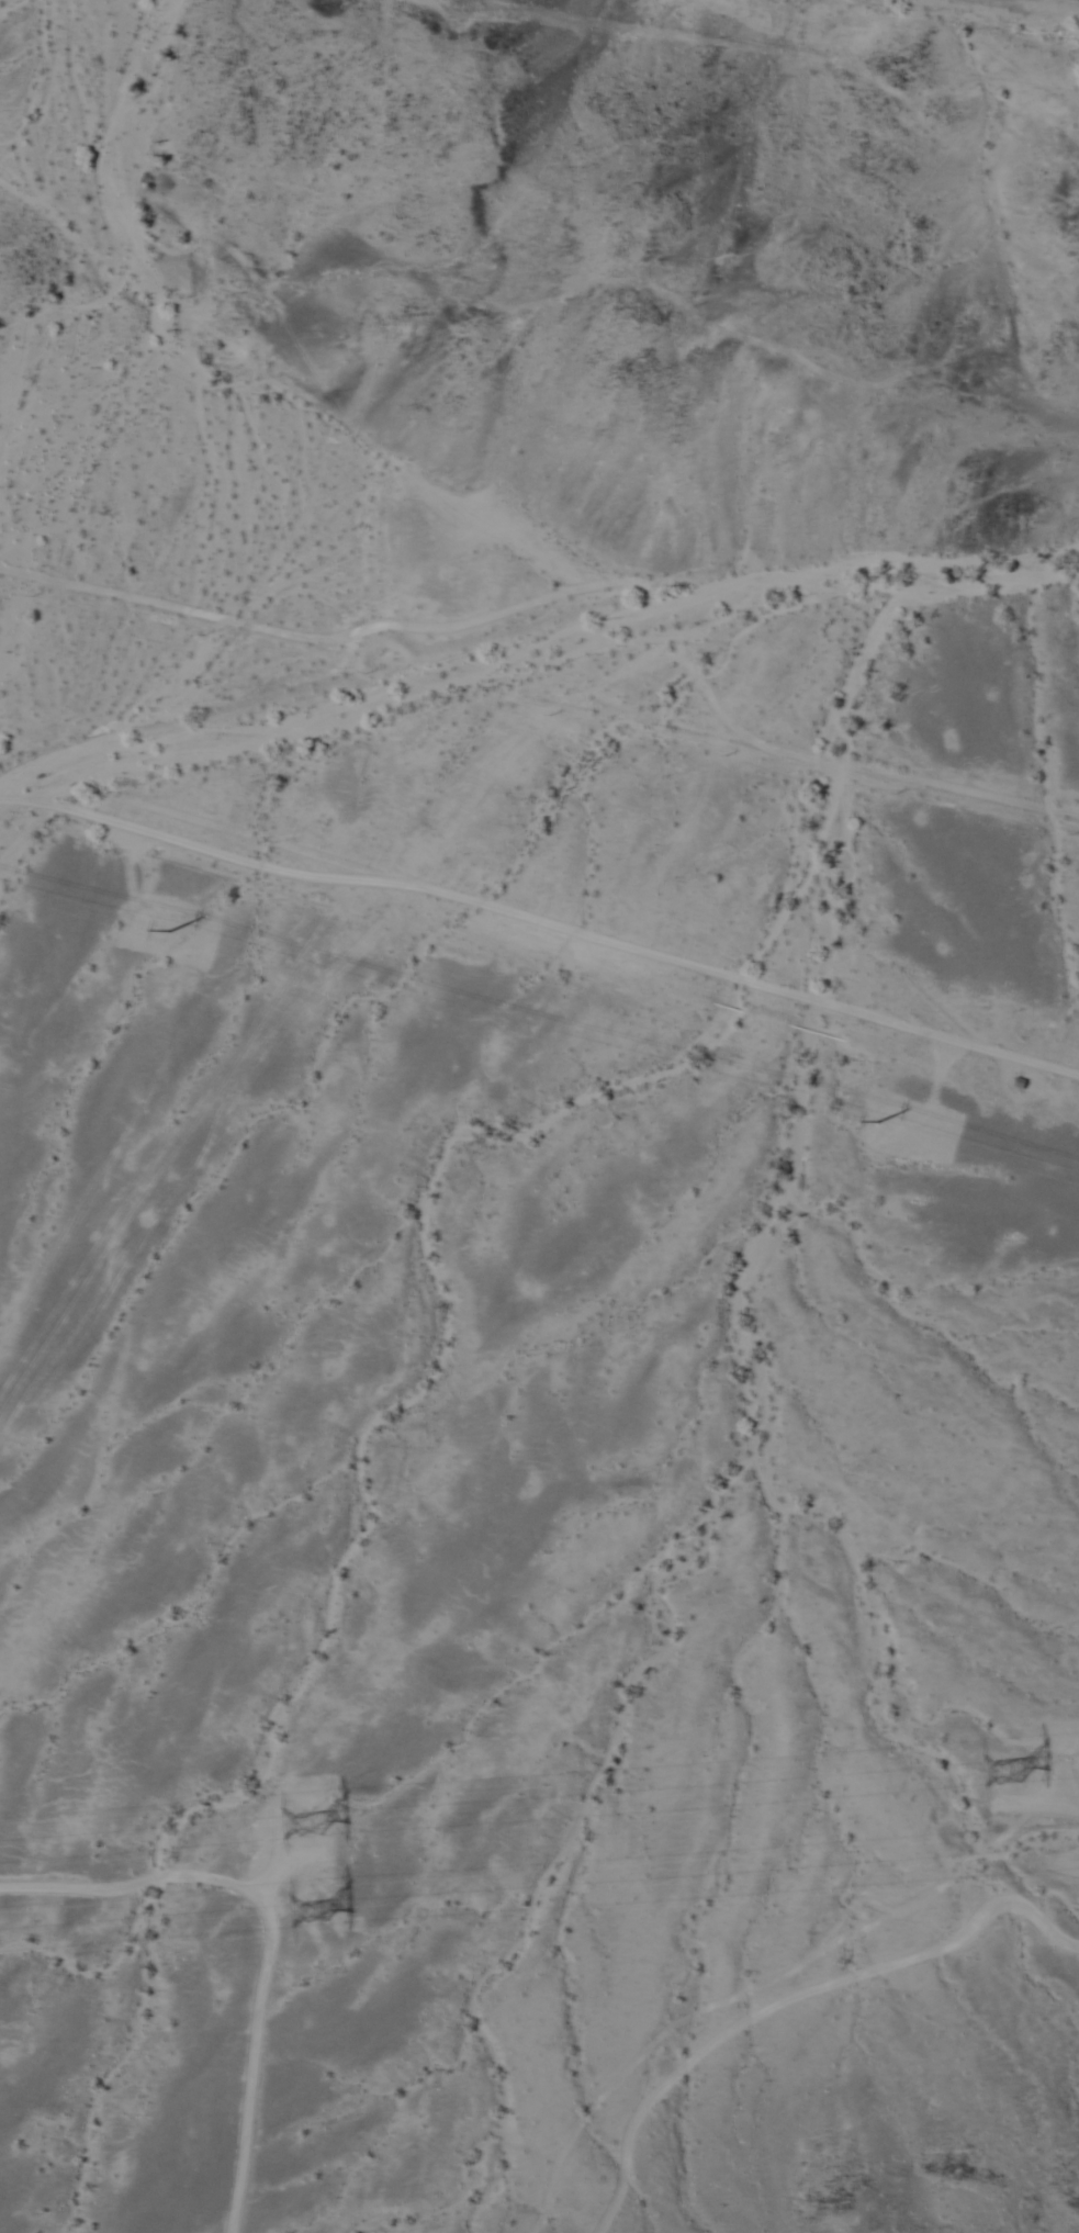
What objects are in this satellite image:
road: (423, 630)
road: (922, 782)
road: (541, 927)
building: (1022, 1082)
power tower: (1005, 1780)
power tower: (296, 1821)
power tower: (310, 1905)

